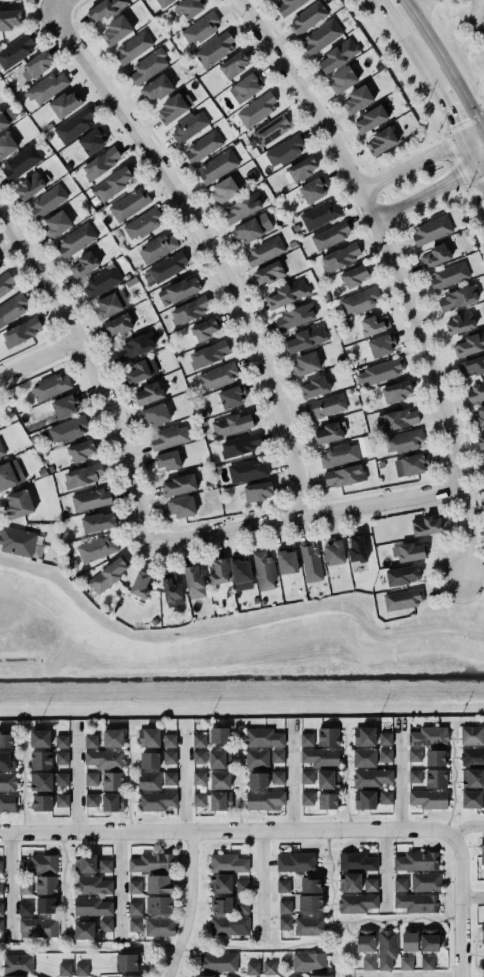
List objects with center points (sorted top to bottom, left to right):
building: (18, 0)
building: (163, 2)
road: (415, 4)
road: (55, 5)
building: (288, 5)
building: (190, 8)
building: (104, 9)
road: (475, 16)
building: (10, 18)
building: (307, 18)
building: (201, 27)
building: (117, 29)
building: (322, 35)
road: (405, 42)
building: (134, 45)
building: (214, 49)
building: (16, 50)
building: (338, 54)
road: (444, 63)
building: (37, 64)
building: (234, 64)
building: (148, 65)
building: (343, 79)
building: (248, 84)
building: (46, 86)
building: (156, 87)
building: (357, 99)
building: (66, 103)
building: (172, 108)
building: (257, 110)
road: (449, 111)
building: (6, 118)
building: (372, 118)
building: (74, 125)
building: (189, 125)
traffic signals: (483, 128)
building: (271, 130)
road: (474, 133)
traffic signals: (464, 138)
building: (93, 139)
building: (382, 141)
building: (7, 144)
building: (203, 145)
building: (284, 150)
road: (471, 153)
building: (21, 161)
building: (100, 162)
road: (410, 164)
building: (218, 165)
road: (481, 167)
traffic signals: (479, 169)
building: (299, 170)
road: (481, 175)
building: (112, 182)
building: (30, 185)
building: (224, 189)
building: (313, 190)
road: (425, 195)
building: (47, 200)
building: (129, 203)
building: (243, 206)
building: (320, 215)
building: (57, 223)
building: (143, 223)
building: (247, 229)
building: (431, 230)
building: (330, 234)
building: (76, 239)
road: (207, 246)
building: (158, 247)
building: (265, 250)
building: (340, 256)
building: (434, 256)
building: (0, 260)
building: (1, 264)
building: (83, 265)
building: (167, 266)
building: (269, 272)
road: (395, 272)
building: (354, 275)
building: (448, 276)
building: (6, 281)
building: (101, 282)
building: (179, 290)
building: (288, 293)
building: (457, 298)
building: (359, 301)
building: (110, 303)
building: (13, 308)
building: (190, 310)
building: (295, 315)
building: (460, 322)
building: (117, 324)
building: (374, 325)
building: (205, 328)
building: (21, 331)
building: (307, 337)
building: (470, 344)
building: (382, 345)
building: (135, 346)
building: (208, 354)
road: (38, 357)
building: (305, 364)
building: (471, 366)
building: (383, 369)
building: (141, 370)
road: (91, 373)
building: (218, 374)
building: (50, 386)
building: (314, 387)
building: (396, 391)
building: (476, 391)
building: (149, 393)
building: (232, 396)
building: (65, 405)
building: (325, 406)
building: (154, 414)
building: (479, 414)
building: (398, 419)
building: (231, 424)
building: (67, 430)
building: (329, 432)
building: (169, 436)
building: (480, 439)
building: (403, 441)
building: (240, 444)
building: (1, 449)
building: (81, 449)
building: (338, 455)
building: (167, 460)
building: (483, 461)
building: (411, 464)
building: (247, 470)
building: (10, 474)
building: (83, 475)
building: (344, 476)
building: (180, 484)
building: (258, 491)
building: (90, 498)
building: (19, 503)
building: (180, 507)
road: (302, 515)
building: (98, 522)
building: (426, 525)
building: (17, 540)
building: (97, 548)
building: (357, 548)
building: (409, 552)
building: (333, 553)
building: (287, 561)
building: (310, 561)
building: (240, 569)
building: (264, 569)
building: (219, 572)
building: (108, 574)
building: (402, 575)
building: (194, 581)
building: (141, 584)
road: (56, 587)
building: (171, 590)
building: (402, 600)
road: (482, 605)
road: (216, 633)
road: (406, 633)
road: (241, 702)
building: (326, 734)
building: (362, 734)
building: (427, 734)
building: (38, 735)
building: (219, 735)
building: (471, 735)
building: (384, 736)
building: (5, 737)
building: (148, 737)
building: (263, 737)
building: (305, 737)
building: (112, 738)
building: (60, 740)
building: (169, 740)
building: (198, 740)
building: (91, 741)
building: (384, 754)
building: (414, 754)
building: (168, 755)
building: (319, 755)
building: (363, 755)
building: (471, 755)
building: (277, 756)
building: (60, 757)
building: (199, 757)
building: (6, 758)
building: (39, 758)
building: (256, 758)
building: (435, 758)
building: (105, 759)
building: (219, 759)
building: (149, 760)
road: (399, 772)
road: (290, 774)
road: (182, 775)
building: (305, 775)
building: (415, 776)
road: (74, 777)
building: (90, 777)
building: (277, 777)
building: (327, 777)
building: (370, 777)
building: (60, 778)
building: (169, 778)
building: (199, 778)
building: (435, 778)
building: (472, 778)
building: (40, 779)
building: (111, 779)
building: (7, 780)
road: (23, 780)
building: (219, 780)
building: (257, 780)
building: (148, 781)
road: (236, 781)
road: (343, 781)
road: (129, 783)
road: (452, 783)
building: (384, 796)
building: (470, 796)
building: (305, 797)
building: (60, 798)
building: (325, 798)
building: (362, 798)
building: (199, 799)
building: (428, 799)
building: (40, 800)
building: (91, 800)
building: (265, 800)
building: (7, 801)
building: (156, 801)
building: (220, 801)
building: (112, 802)
road: (464, 826)
road: (225, 830)
building: (482, 851)
building: (415, 859)
building: (355, 860)
building: (84, 861)
building: (37, 862)
building: (150, 862)
building: (295, 862)
building: (228, 863)
building: (104, 864)
building: (0, 866)
road: (382, 868)
building: (349, 882)
building: (425, 882)
road: (119, 883)
building: (220, 883)
road: (329, 883)
building: (44, 884)
building: (90, 884)
building: (159, 884)
building: (399, 884)
road: (8, 885)
road: (259, 885)
building: (282, 885)
building: (310, 885)
building: (370, 885)
building: (23, 886)
building: (134, 886)
building: (241, 886)
building: (0, 887)
road: (63, 891)
road: (471, 896)
building: (415, 901)
building: (44, 903)
building: (310, 903)
building: (356, 903)
road: (459, 904)
building: (90, 905)
building: (158, 905)
road: (188, 905)
building: (221, 905)
building: (285, 906)
building: (24, 907)
building: (242, 907)
building: (134, 908)
building: (1, 909)
road: (395, 921)
building: (105, 923)
building: (285, 923)
building: (0, 924)
building: (135, 924)
building: (36, 925)
building: (229, 925)
building: (159, 926)
building: (309, 926)
building: (82, 927)
building: (482, 932)
building: (429, 940)
building: (365, 941)
building: (409, 941)
road: (322, 943)
road: (161, 946)
building: (386, 949)
road: (475, 954)
road: (335, 960)
building: (308, 961)
building: (126, 962)
building: (218, 962)
building: (368, 963)
building: (406, 963)
building: (427, 963)
building: (17, 964)
building: (252, 968)
building: (269, 968)
building: (482, 968)
building: (65, 969)
building: (81, 969)
building: (12, 975)
building: (293, 975)
road: (405, 975)
building: (37, 976)
building: (131, 976)
building: (202, 976)
building: (227, 976)
building: (319, 976)

